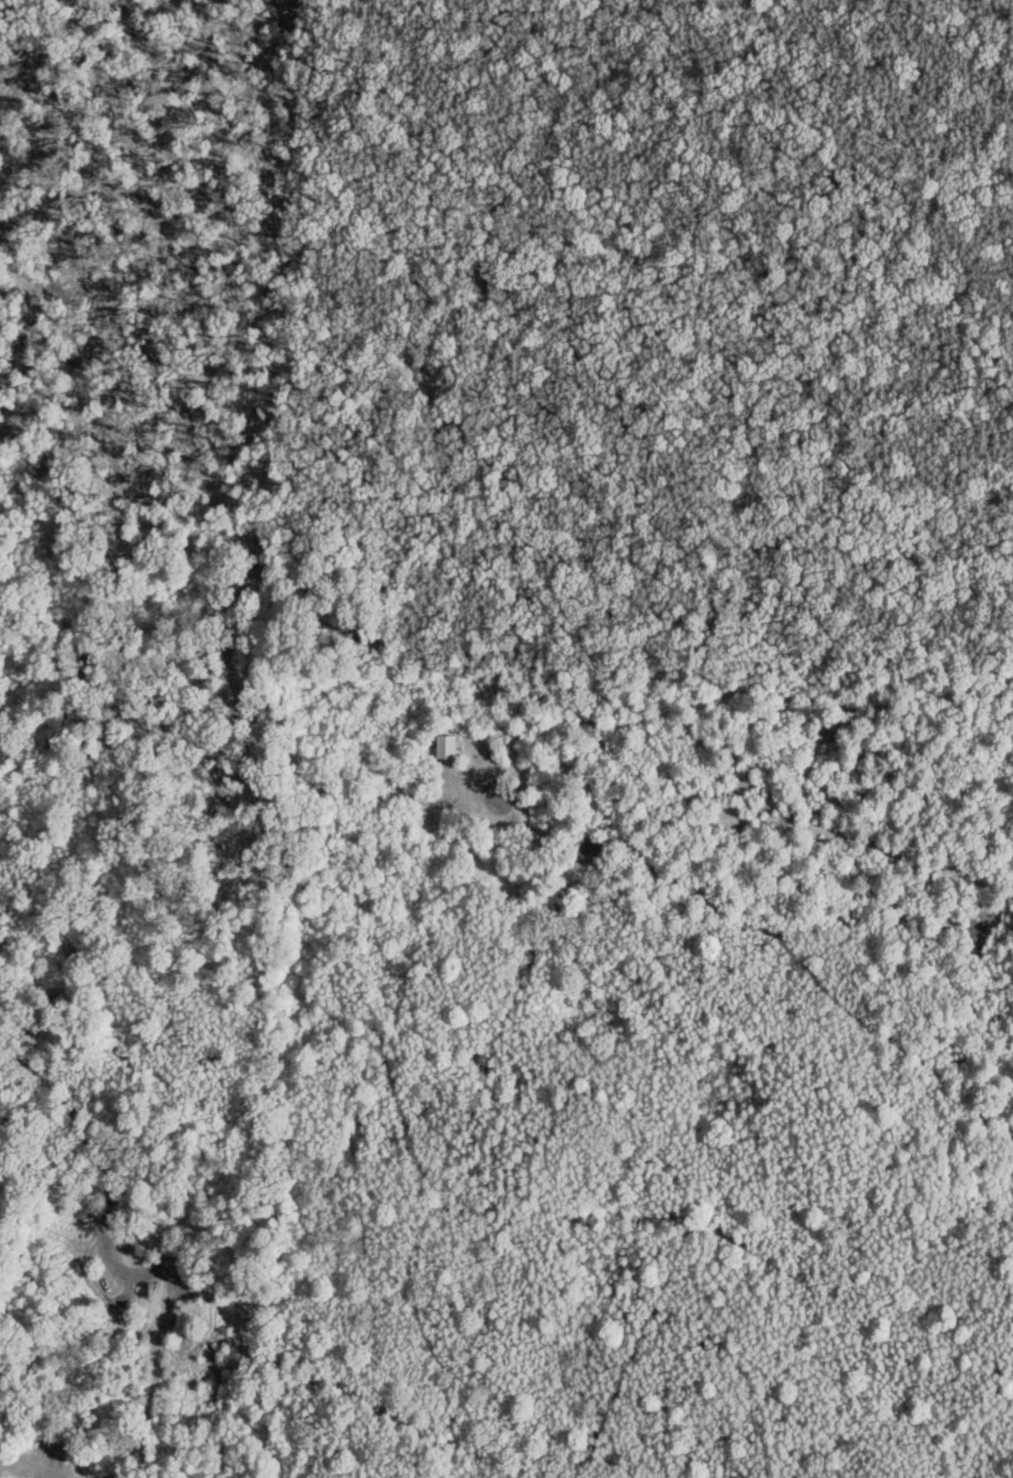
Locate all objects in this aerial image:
road: (270, 739)

